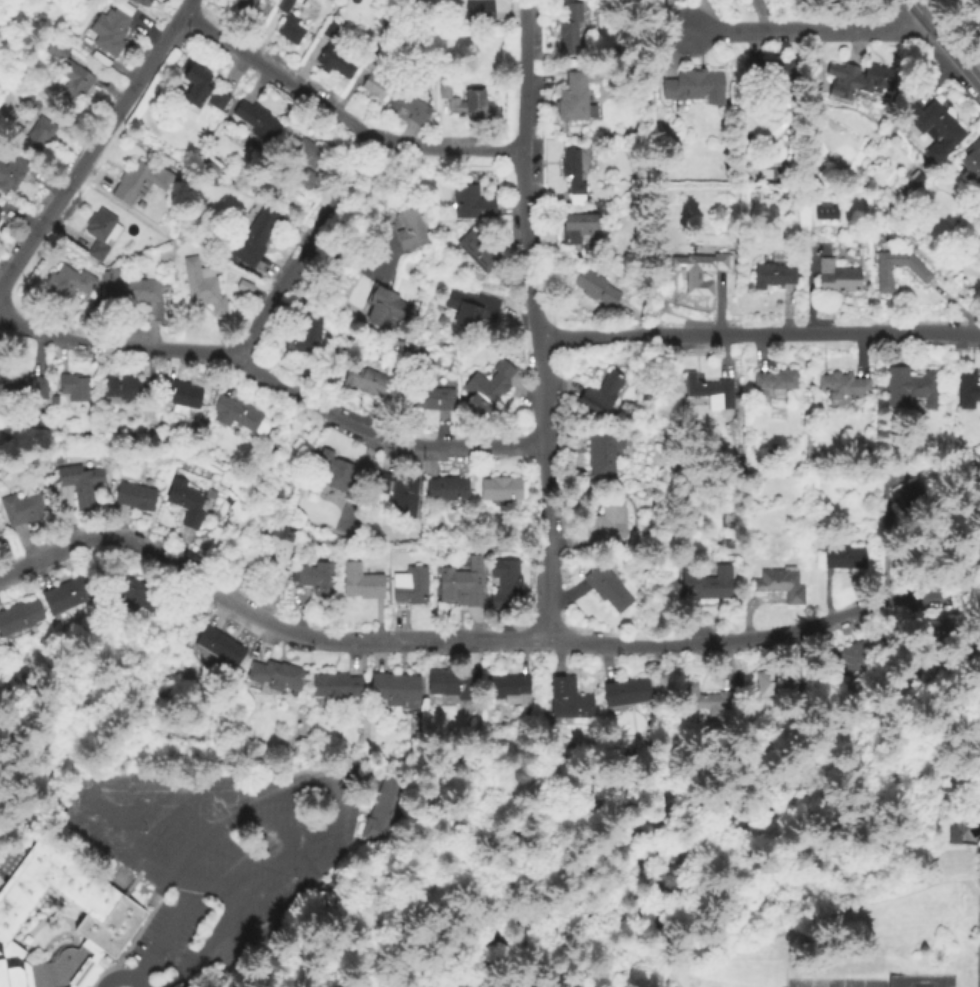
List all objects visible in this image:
building: (676, 1)
building: (145, 2)
building: (243, 5)
building: (284, 6)
building: (478, 11)
building: (332, 29)
road: (811, 31)
building: (109, 32)
building: (290, 32)
building: (569, 33)
road: (943, 42)
building: (337, 61)
building: (587, 67)
building: (770, 73)
building: (67, 75)
building: (374, 80)
building: (859, 81)
building: (197, 86)
building: (692, 86)
building: (218, 101)
building: (574, 101)
building: (412, 104)
building: (466, 105)
road: (341, 119)
building: (255, 122)
building: (32, 124)
building: (934, 128)
road: (97, 144)
building: (972, 160)
building: (298, 161)
building: (12, 175)
building: (572, 177)
building: (915, 178)
building: (141, 183)
building: (471, 204)
building: (0, 208)
building: (824, 210)
road: (383, 225)
building: (579, 228)
building: (410, 229)
building: (258, 231)
building: (98, 235)
road: (302, 249)
building: (480, 252)
building: (699, 272)
building: (919, 272)
building: (771, 276)
building: (837, 279)
building: (68, 285)
building: (202, 286)
building: (243, 288)
building: (596, 289)
building: (138, 292)
building: (472, 307)
building: (380, 309)
road: (538, 319)
building: (301, 329)
road: (760, 334)
road: (275, 379)
building: (366, 381)
building: (773, 383)
building: (26, 388)
building: (74, 388)
building: (125, 388)
building: (842, 388)
building: (487, 389)
building: (707, 389)
building: (908, 389)
building: (967, 390)
building: (180, 395)
building: (600, 395)
building: (431, 398)
building: (53, 402)
building: (236, 414)
building: (602, 453)
building: (59, 459)
building: (338, 476)
building: (79, 484)
building: (500, 490)
building: (447, 491)
building: (905, 493)
building: (401, 496)
building: (134, 497)
building: (375, 500)
building: (905, 503)
building: (186, 505)
building: (20, 509)
building: (606, 521)
building: (978, 553)
building: (841, 558)
building: (272, 562)
building: (316, 579)
building: (361, 584)
building: (461, 585)
building: (504, 585)
building: (705, 585)
building: (780, 585)
building: (410, 587)
building: (606, 589)
building: (131, 592)
building: (67, 596)
building: (18, 617)
building: (936, 633)
road: (476, 640)
building: (220, 646)
building: (852, 658)
building: (275, 676)
building: (770, 682)
building: (450, 684)
building: (335, 687)
building: (508, 688)
building: (396, 690)
building: (626, 694)
building: (566, 700)
building: (706, 700)
road: (662, 714)
building: (304, 747)
building: (384, 810)
road: (86, 813)
road: (335, 831)
building: (953, 839)
road: (260, 845)
road: (661, 858)
building: (343, 884)
building: (102, 905)
road: (164, 933)
road: (761, 933)
road: (661, 945)
road: (668, 972)
road: (121, 976)
road: (677, 986)

